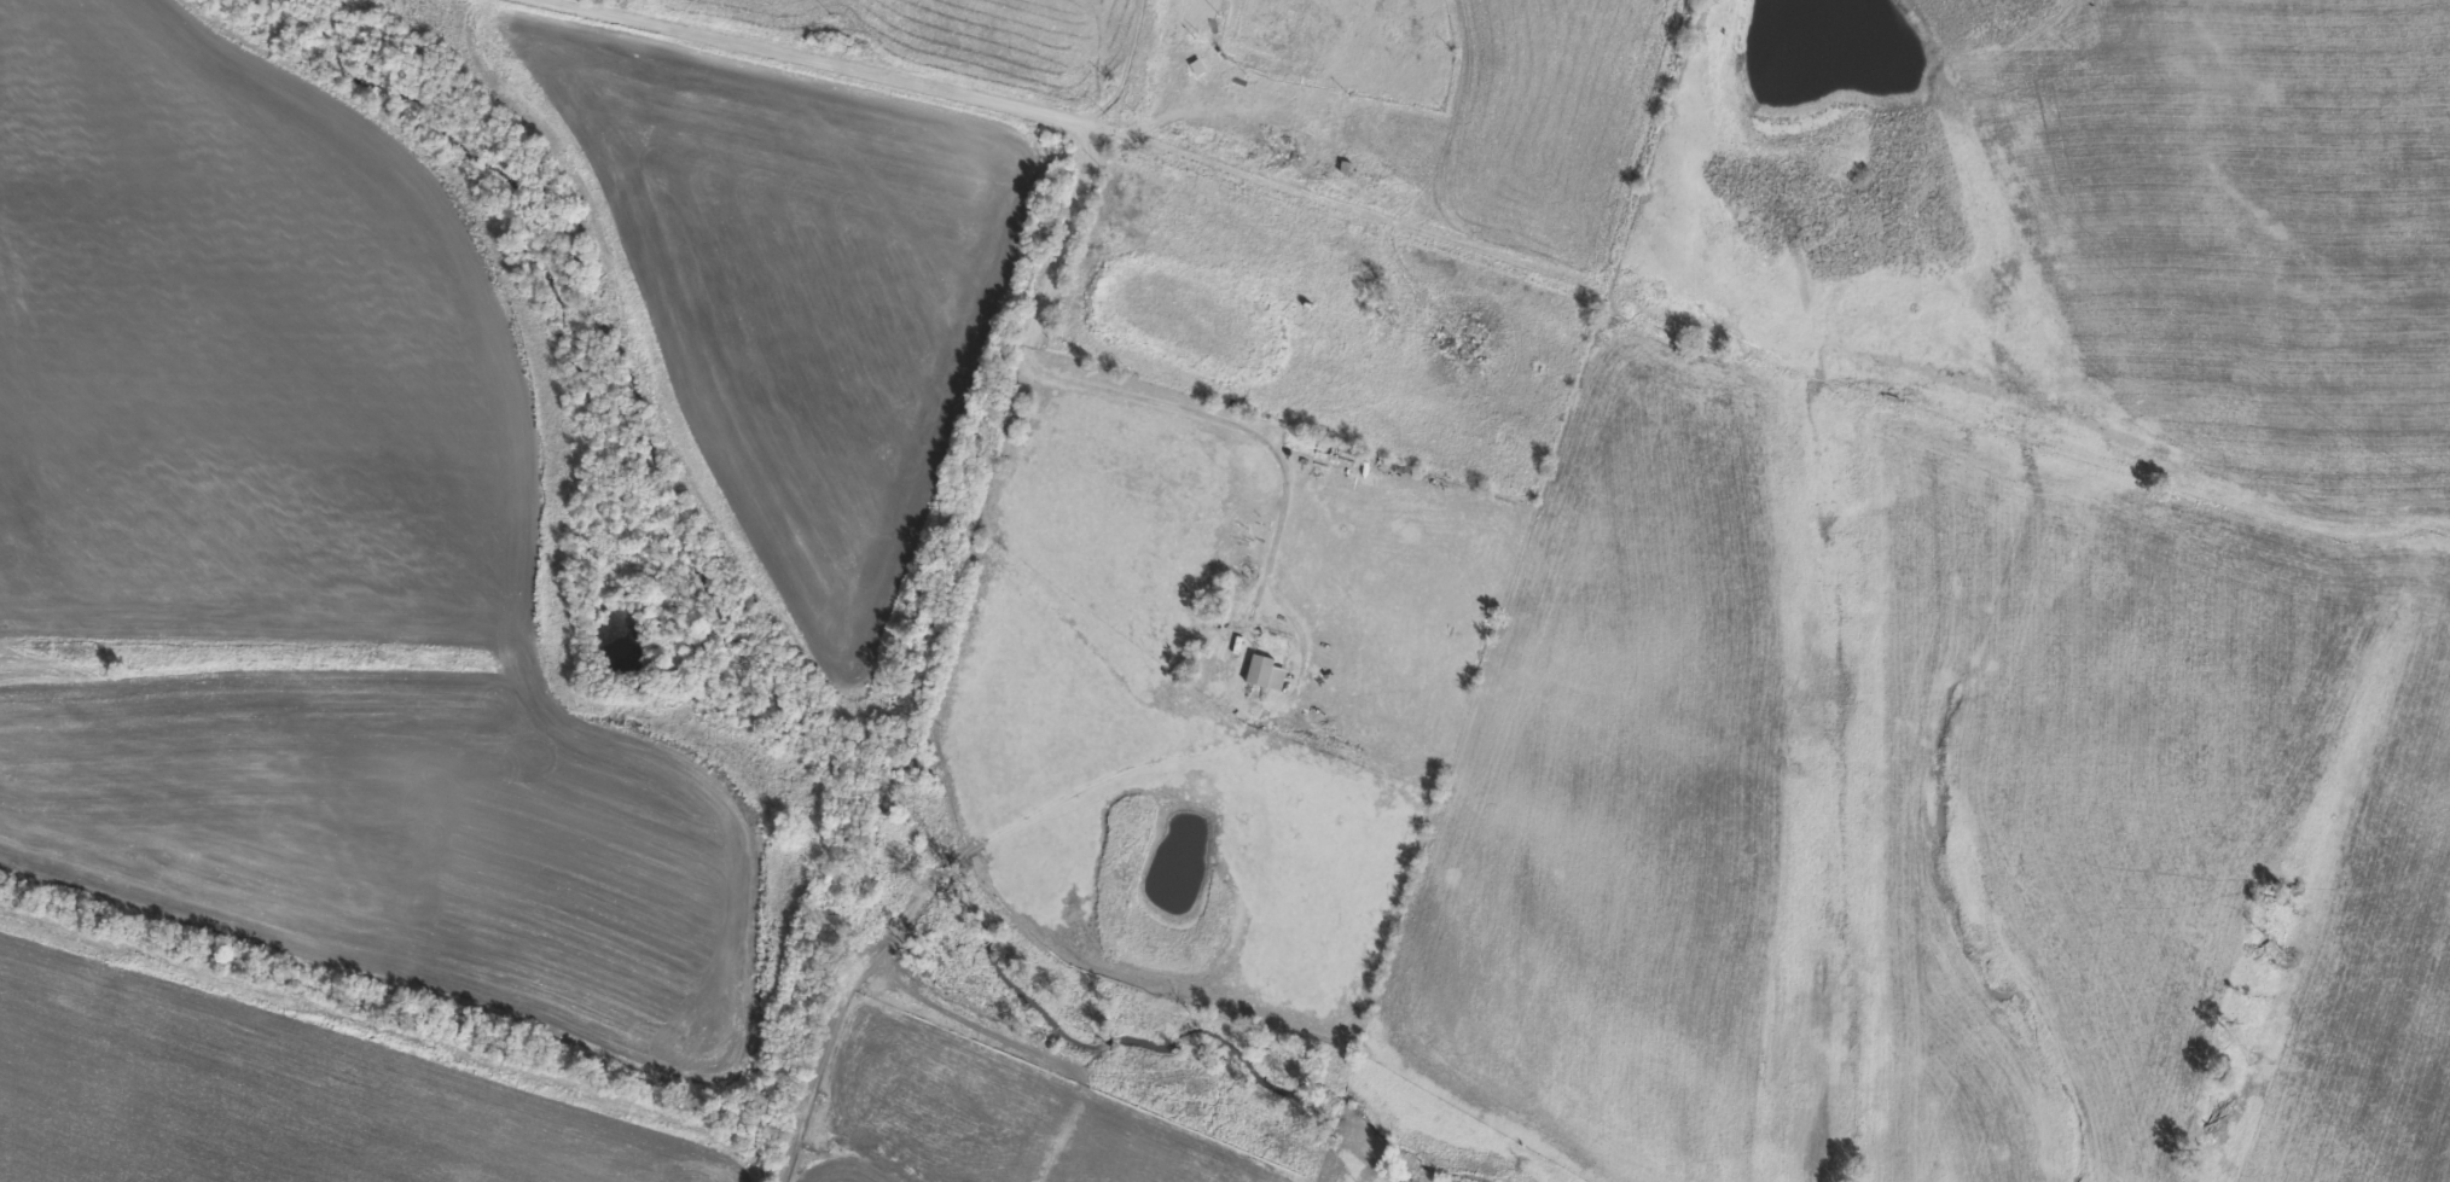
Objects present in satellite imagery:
road: (1076, 129)
building: (1265, 671)

